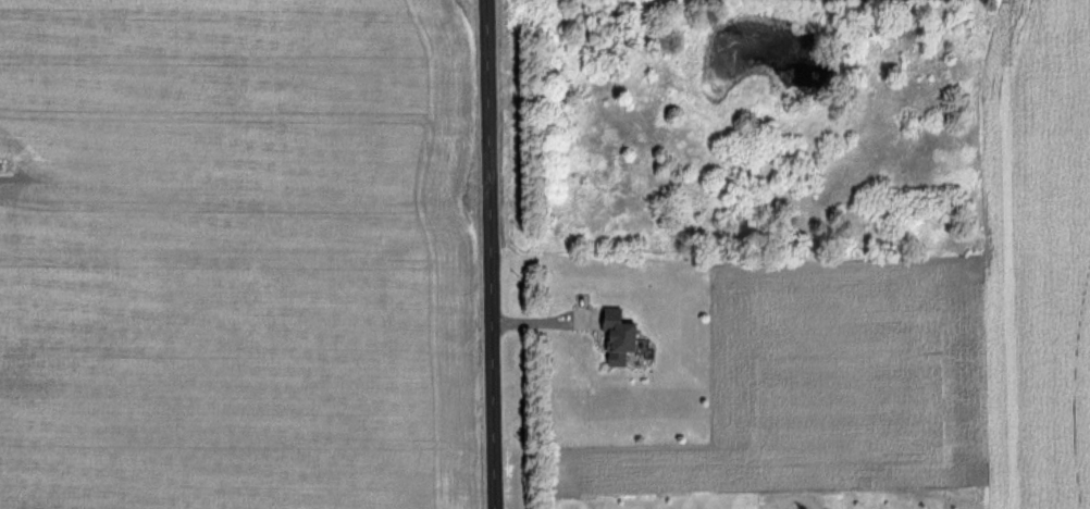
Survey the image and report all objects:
crop: (238, 254)
road: (491, 254)
road: (546, 321)
building: (616, 334)
crop: (915, 334)

